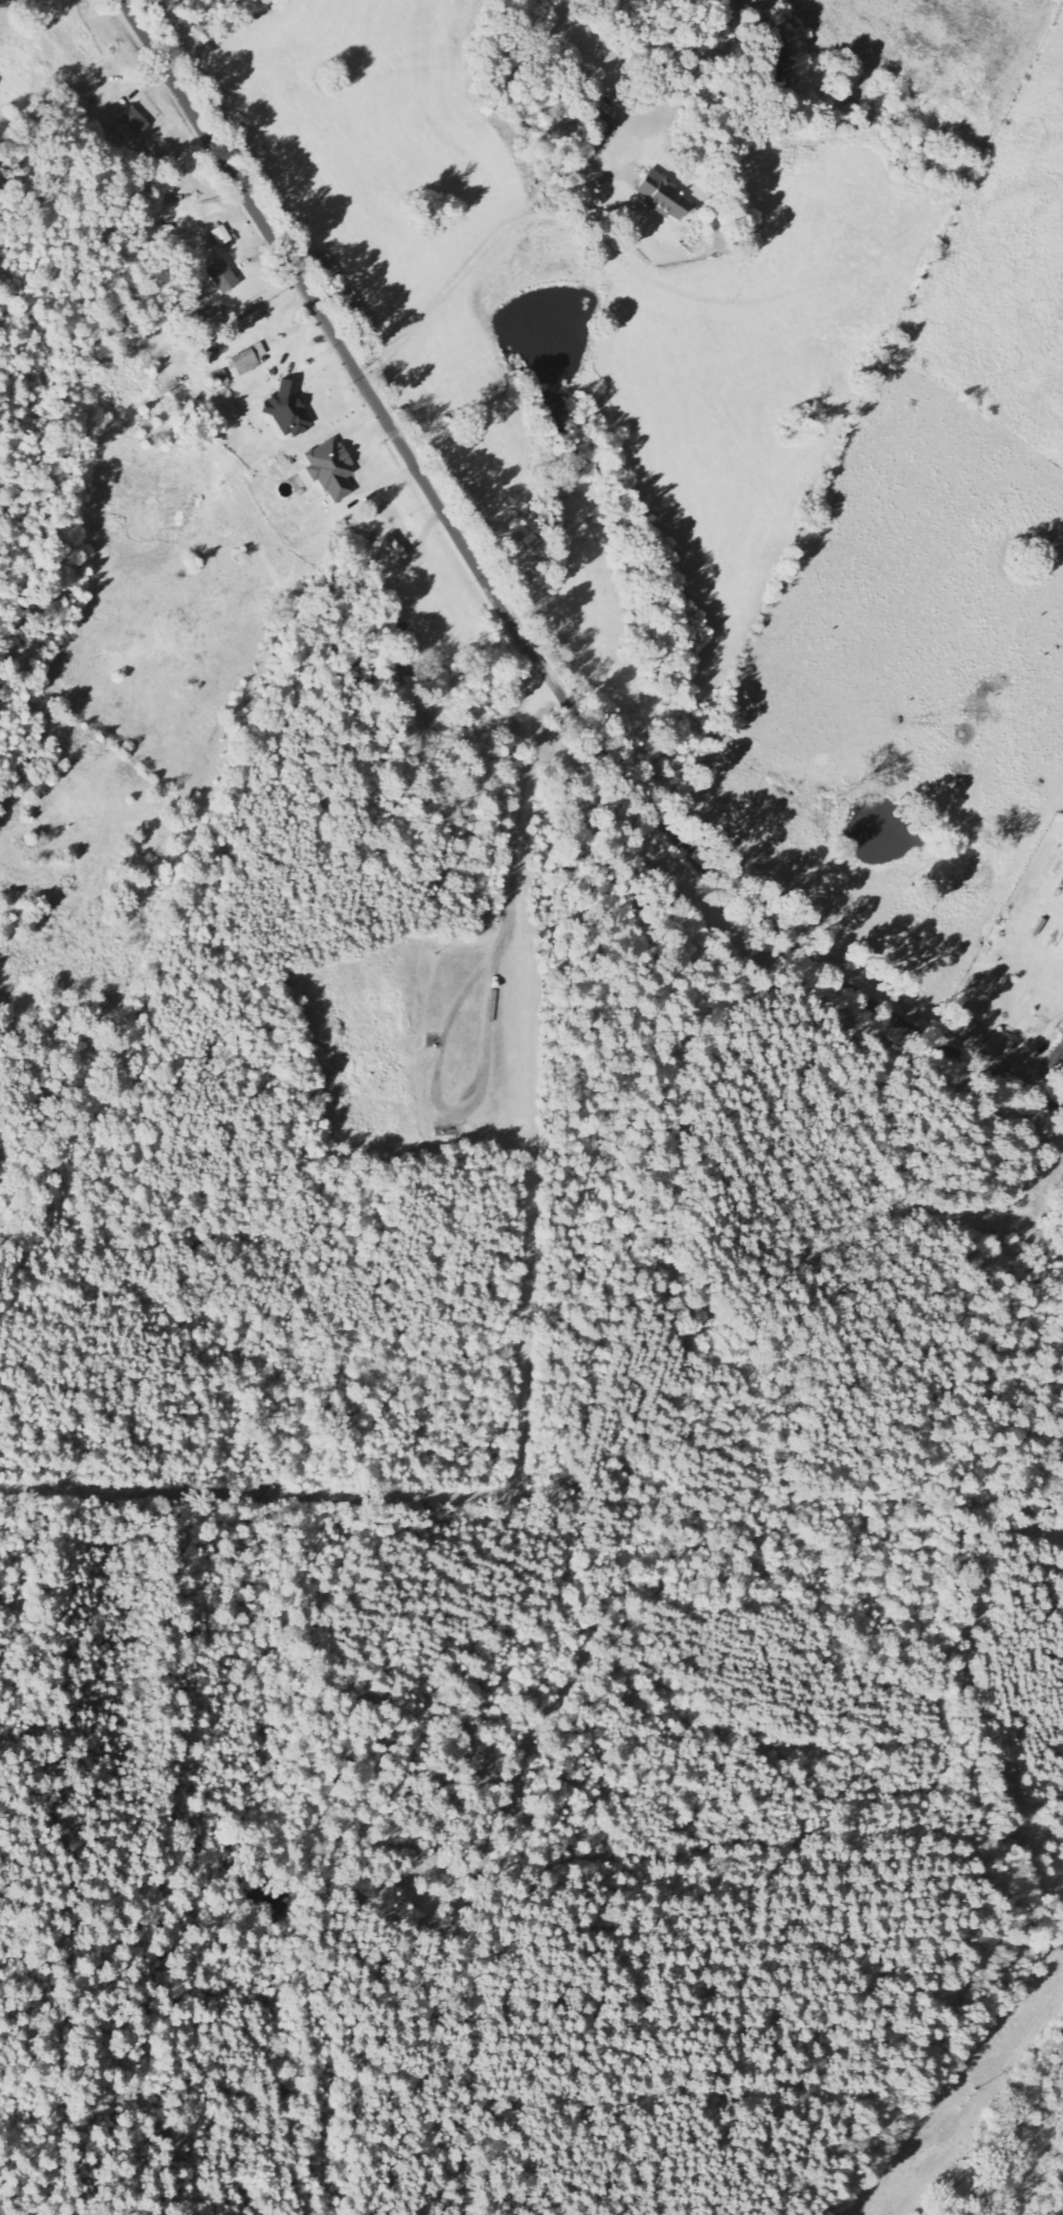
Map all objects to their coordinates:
building: (133, 122)
building: (598, 126)
building: (664, 197)
building: (221, 236)
road: (473, 259)
building: (221, 277)
building: (251, 322)
building: (248, 361)
building: (288, 410)
building: (329, 470)
building: (395, 532)
road: (505, 612)

